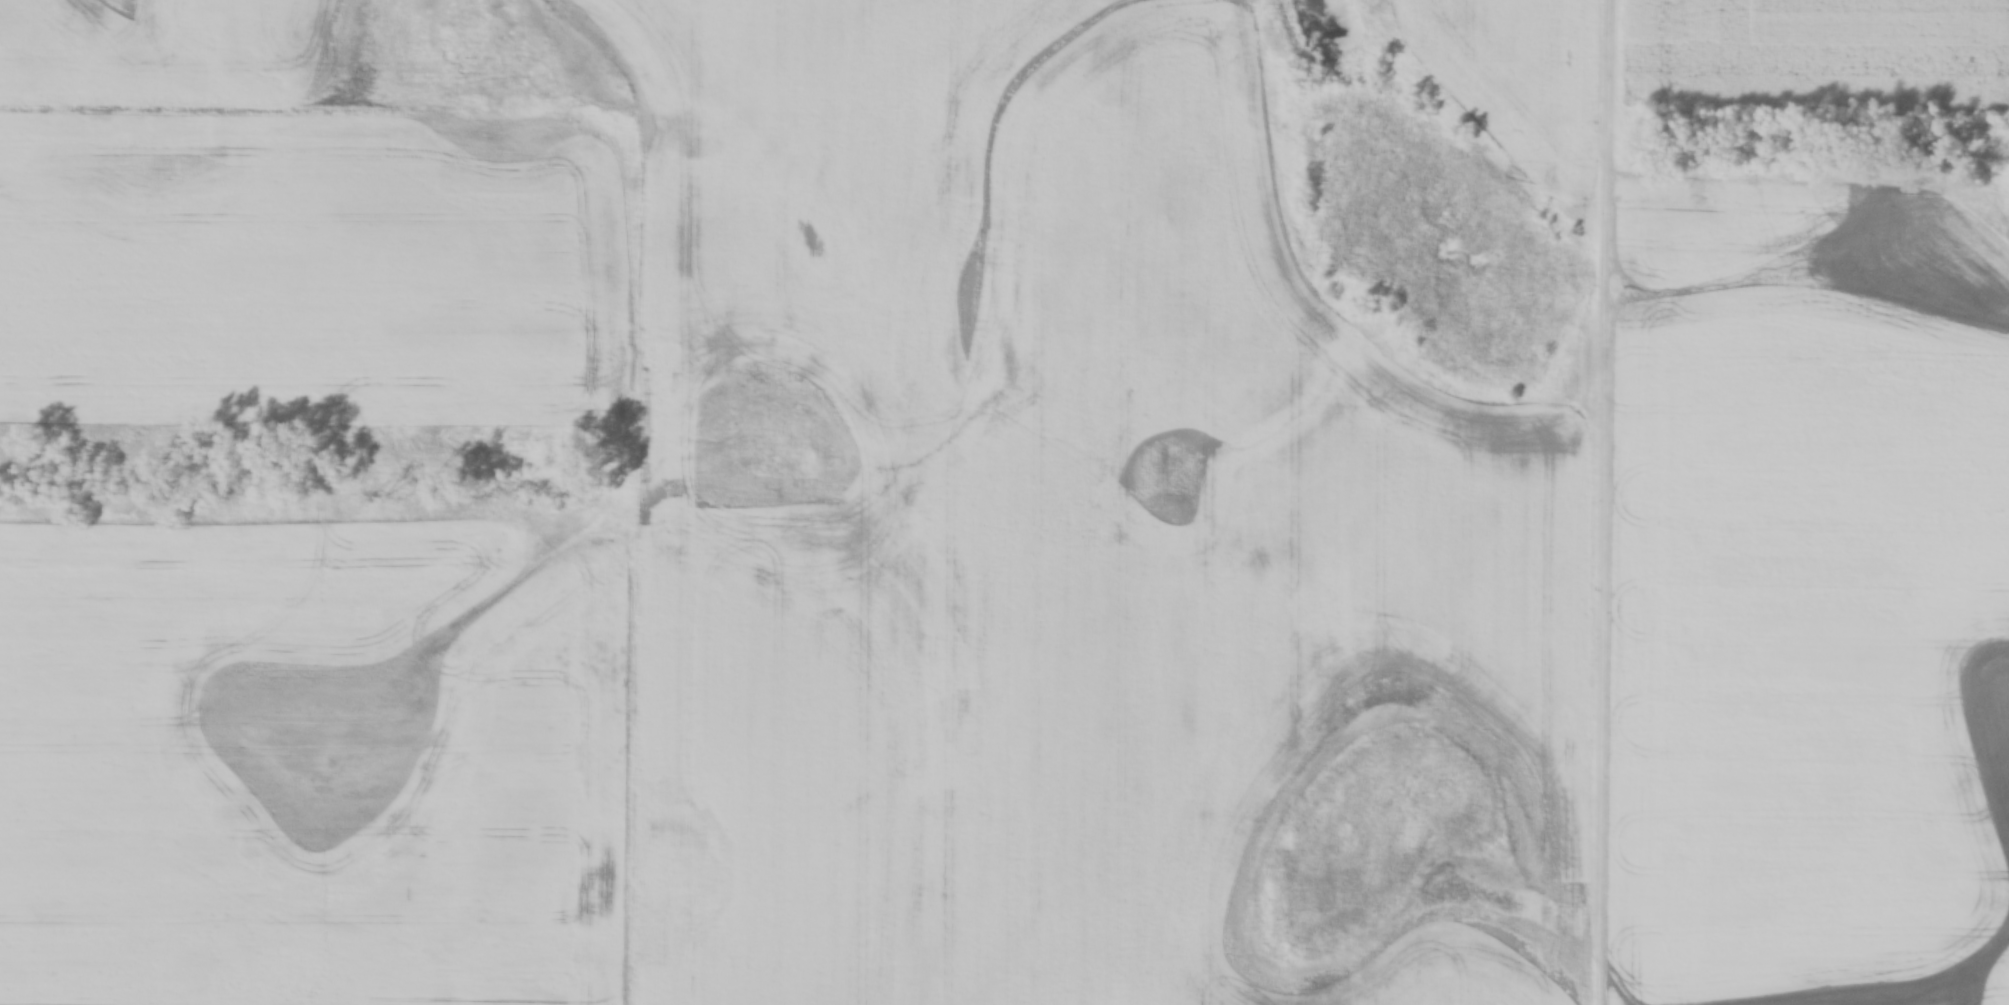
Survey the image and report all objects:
road: (1604, 502)

